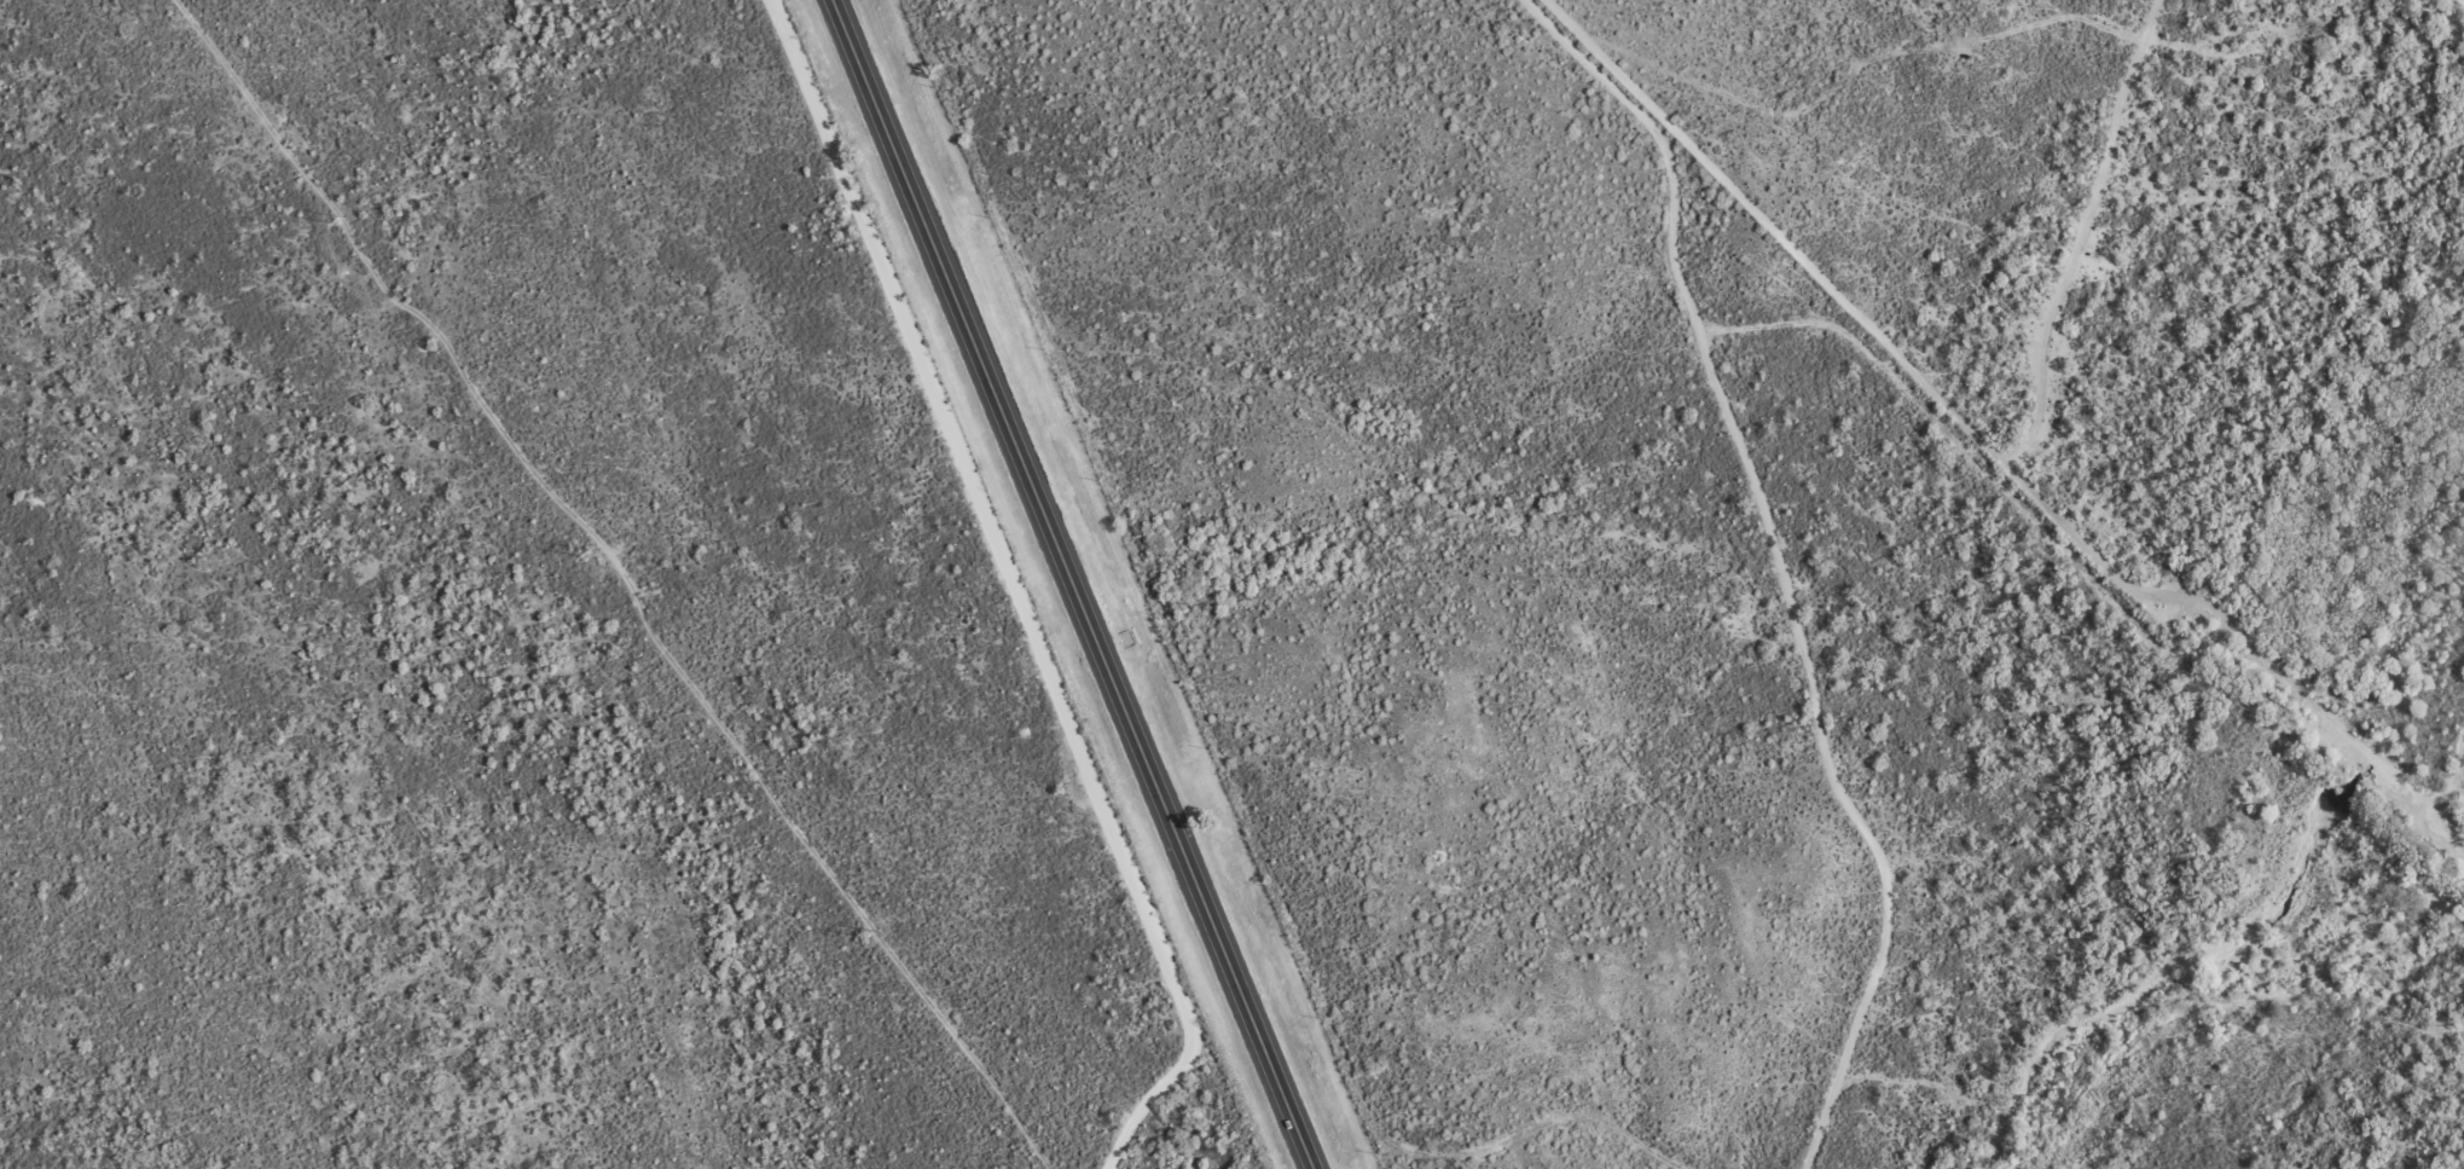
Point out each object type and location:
power tower: (338, 222)
power tower: (595, 555)
road: (886, 577)
road: (1074, 585)
power tower: (882, 931)

